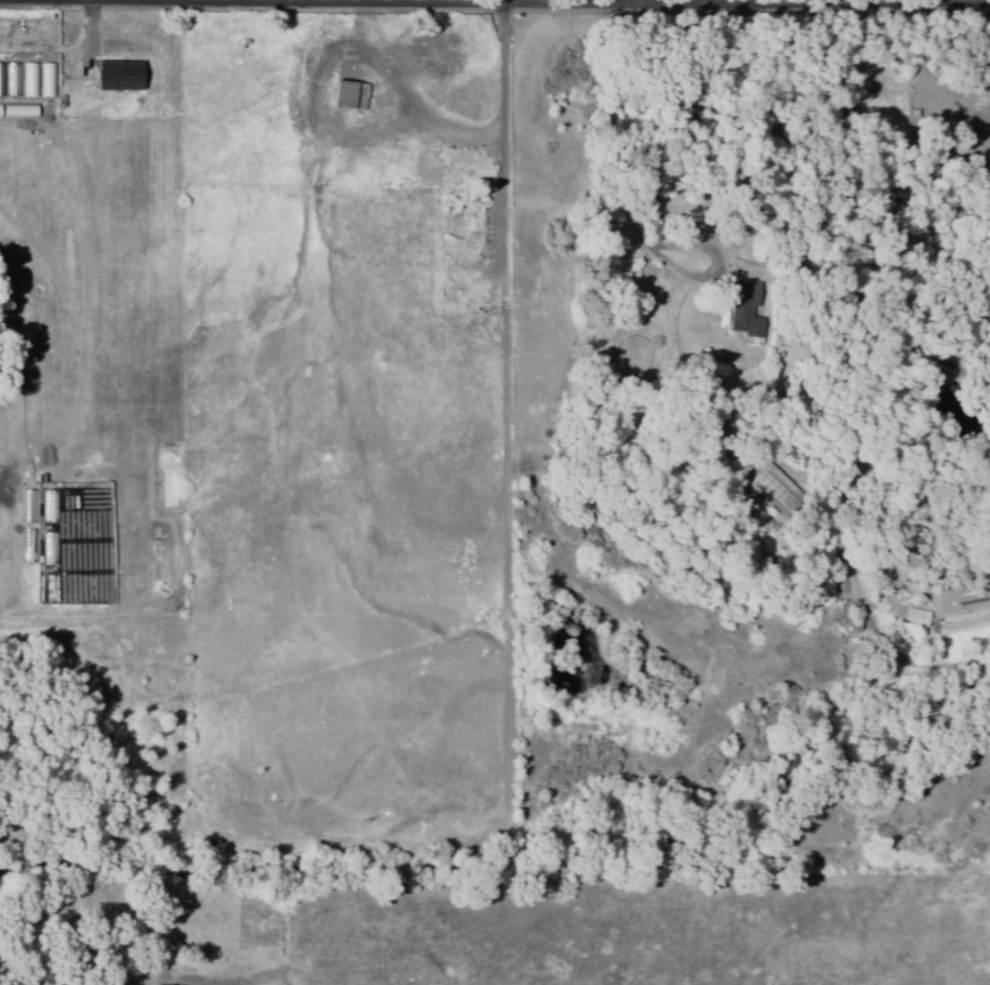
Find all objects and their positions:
road: (509, 2)
building: (116, 75)
building: (346, 95)
road: (508, 116)
building: (422, 166)
building: (475, 225)
building: (743, 315)
building: (775, 489)

